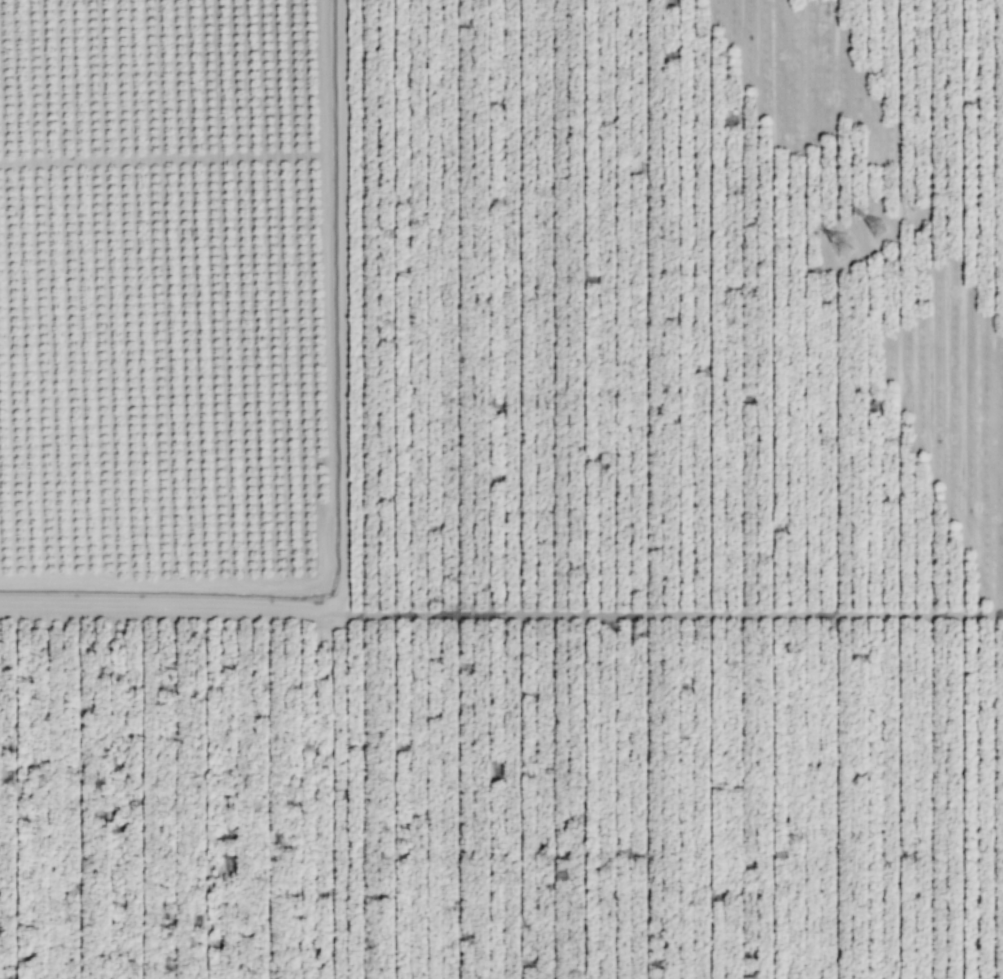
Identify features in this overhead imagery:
road: (324, 76)
road: (162, 157)
power tower: (876, 229)
power tower: (839, 246)
road: (342, 469)
road: (326, 527)
road: (666, 613)

